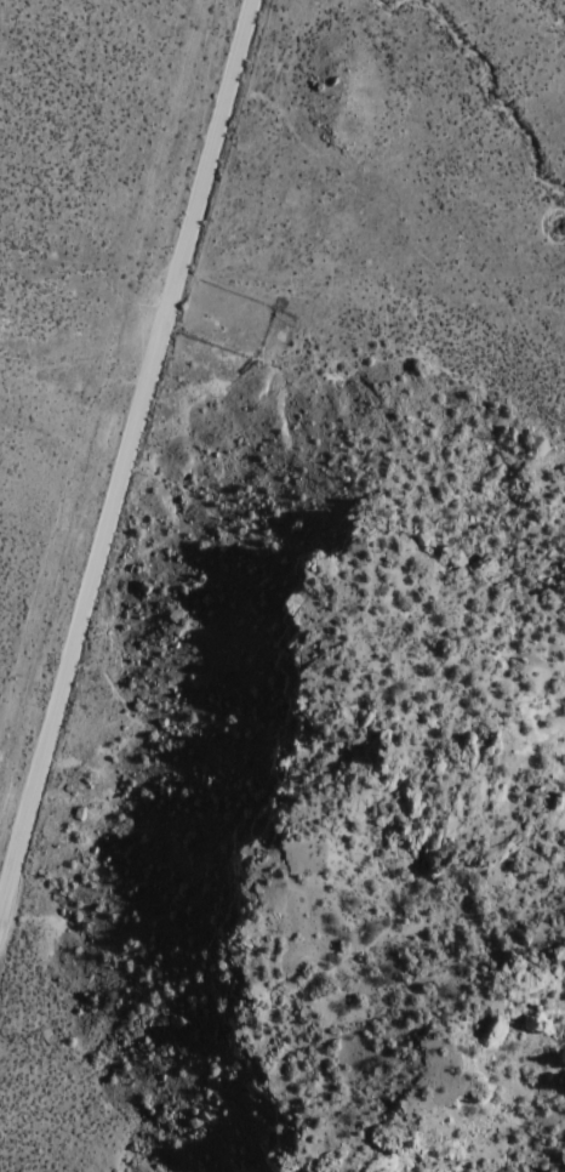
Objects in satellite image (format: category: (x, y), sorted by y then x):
road: (125, 462)

